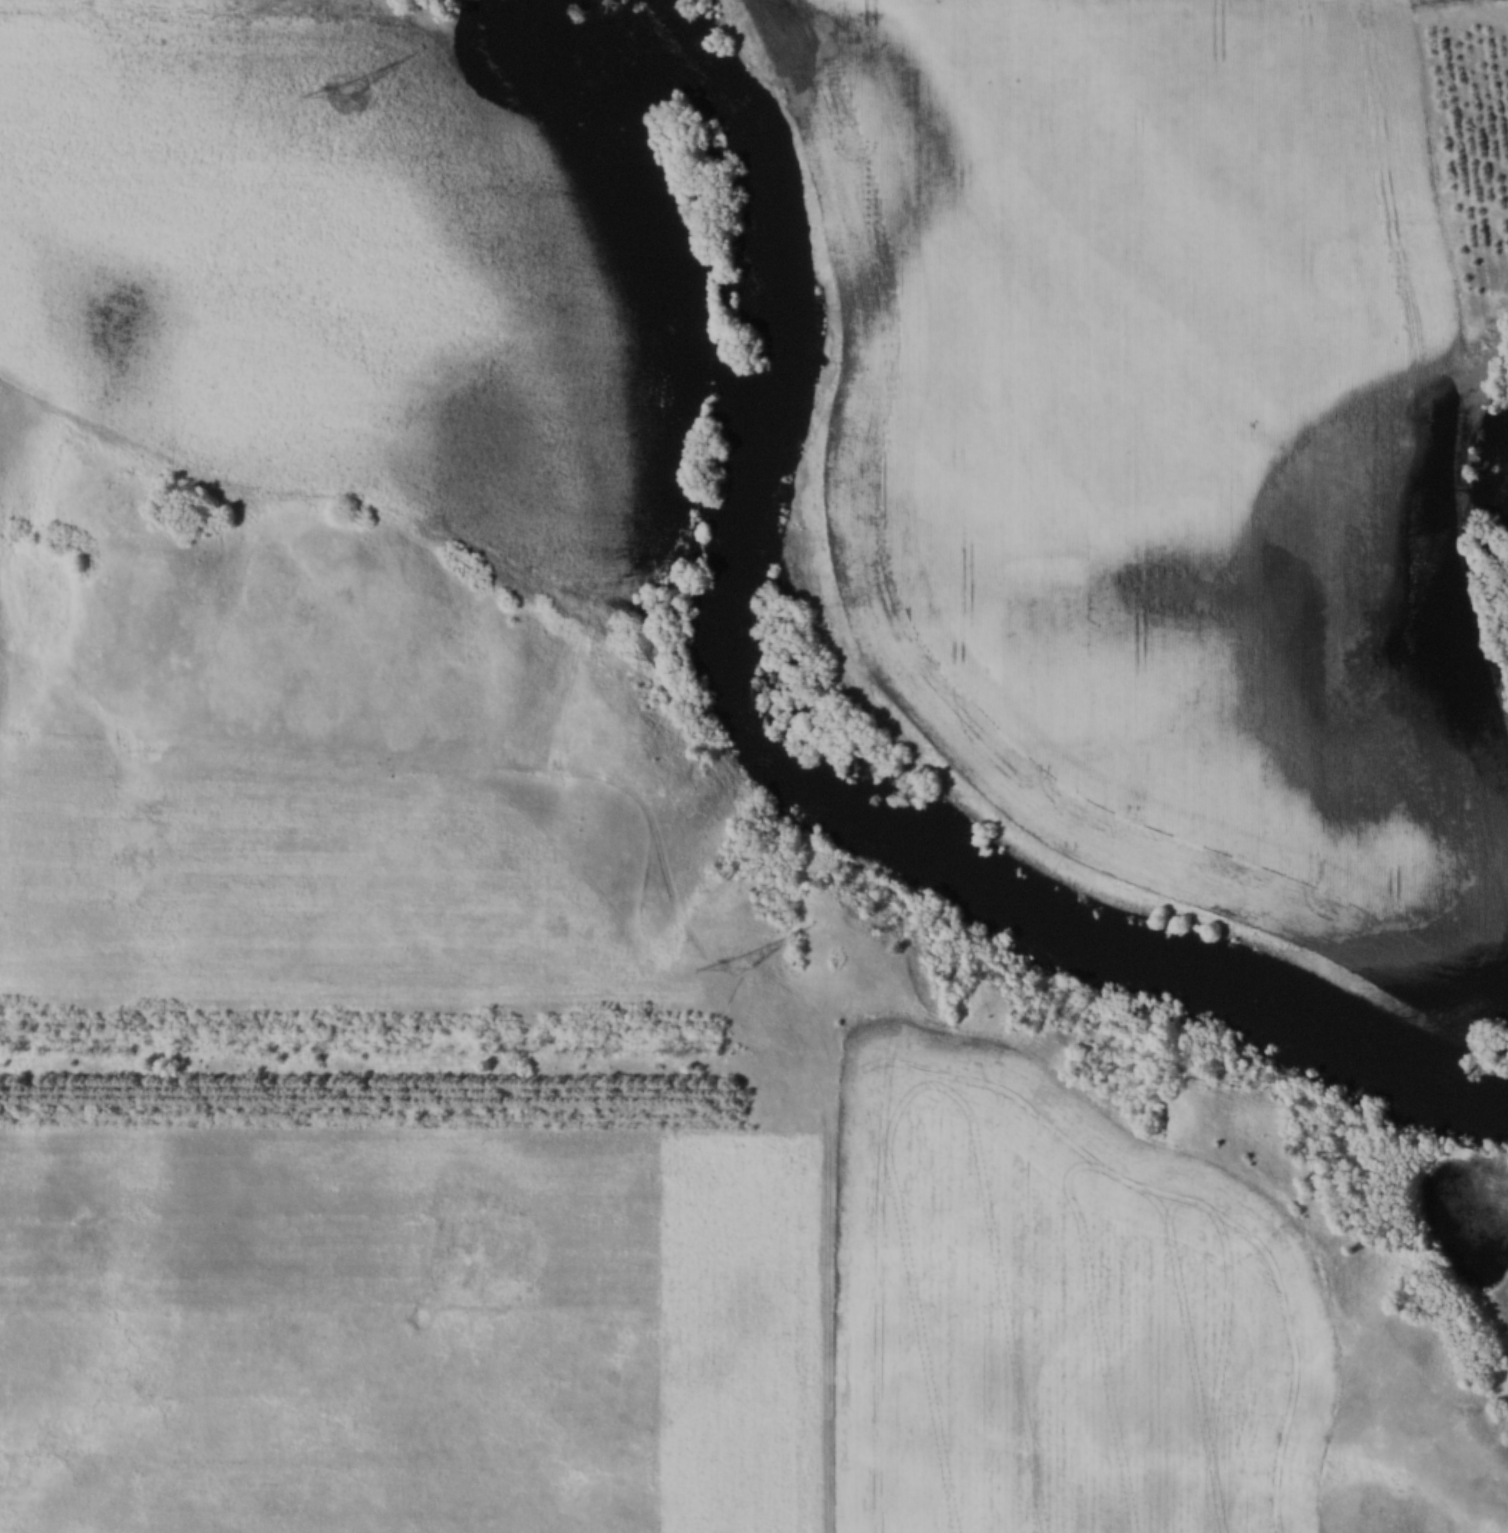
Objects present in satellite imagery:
power tower: (344, 95)
river: (728, 659)
power tower: (743, 972)

